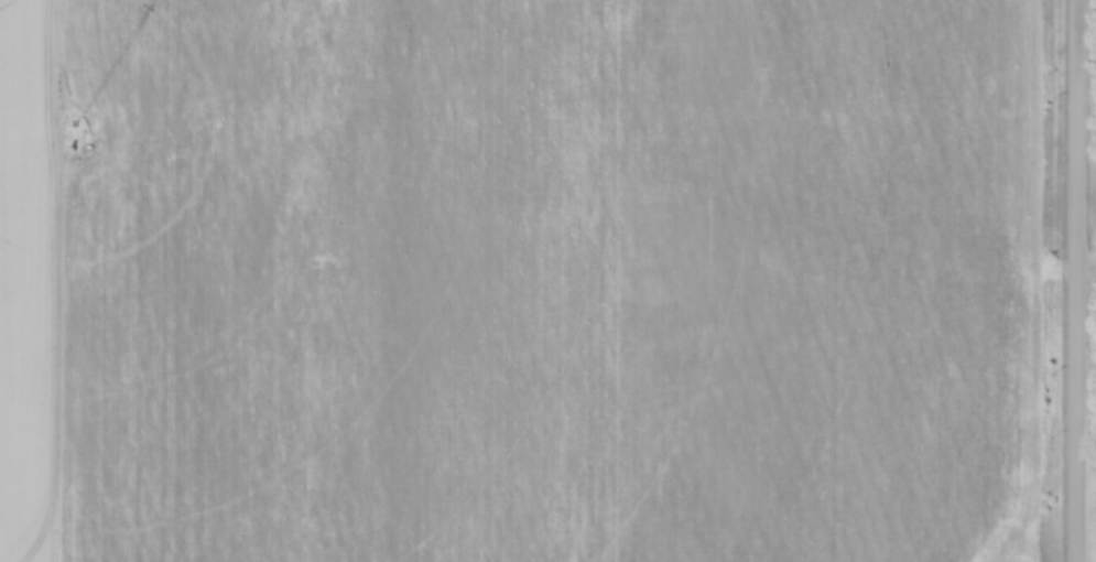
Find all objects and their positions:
road: (1087, 277)
road: (1078, 280)

